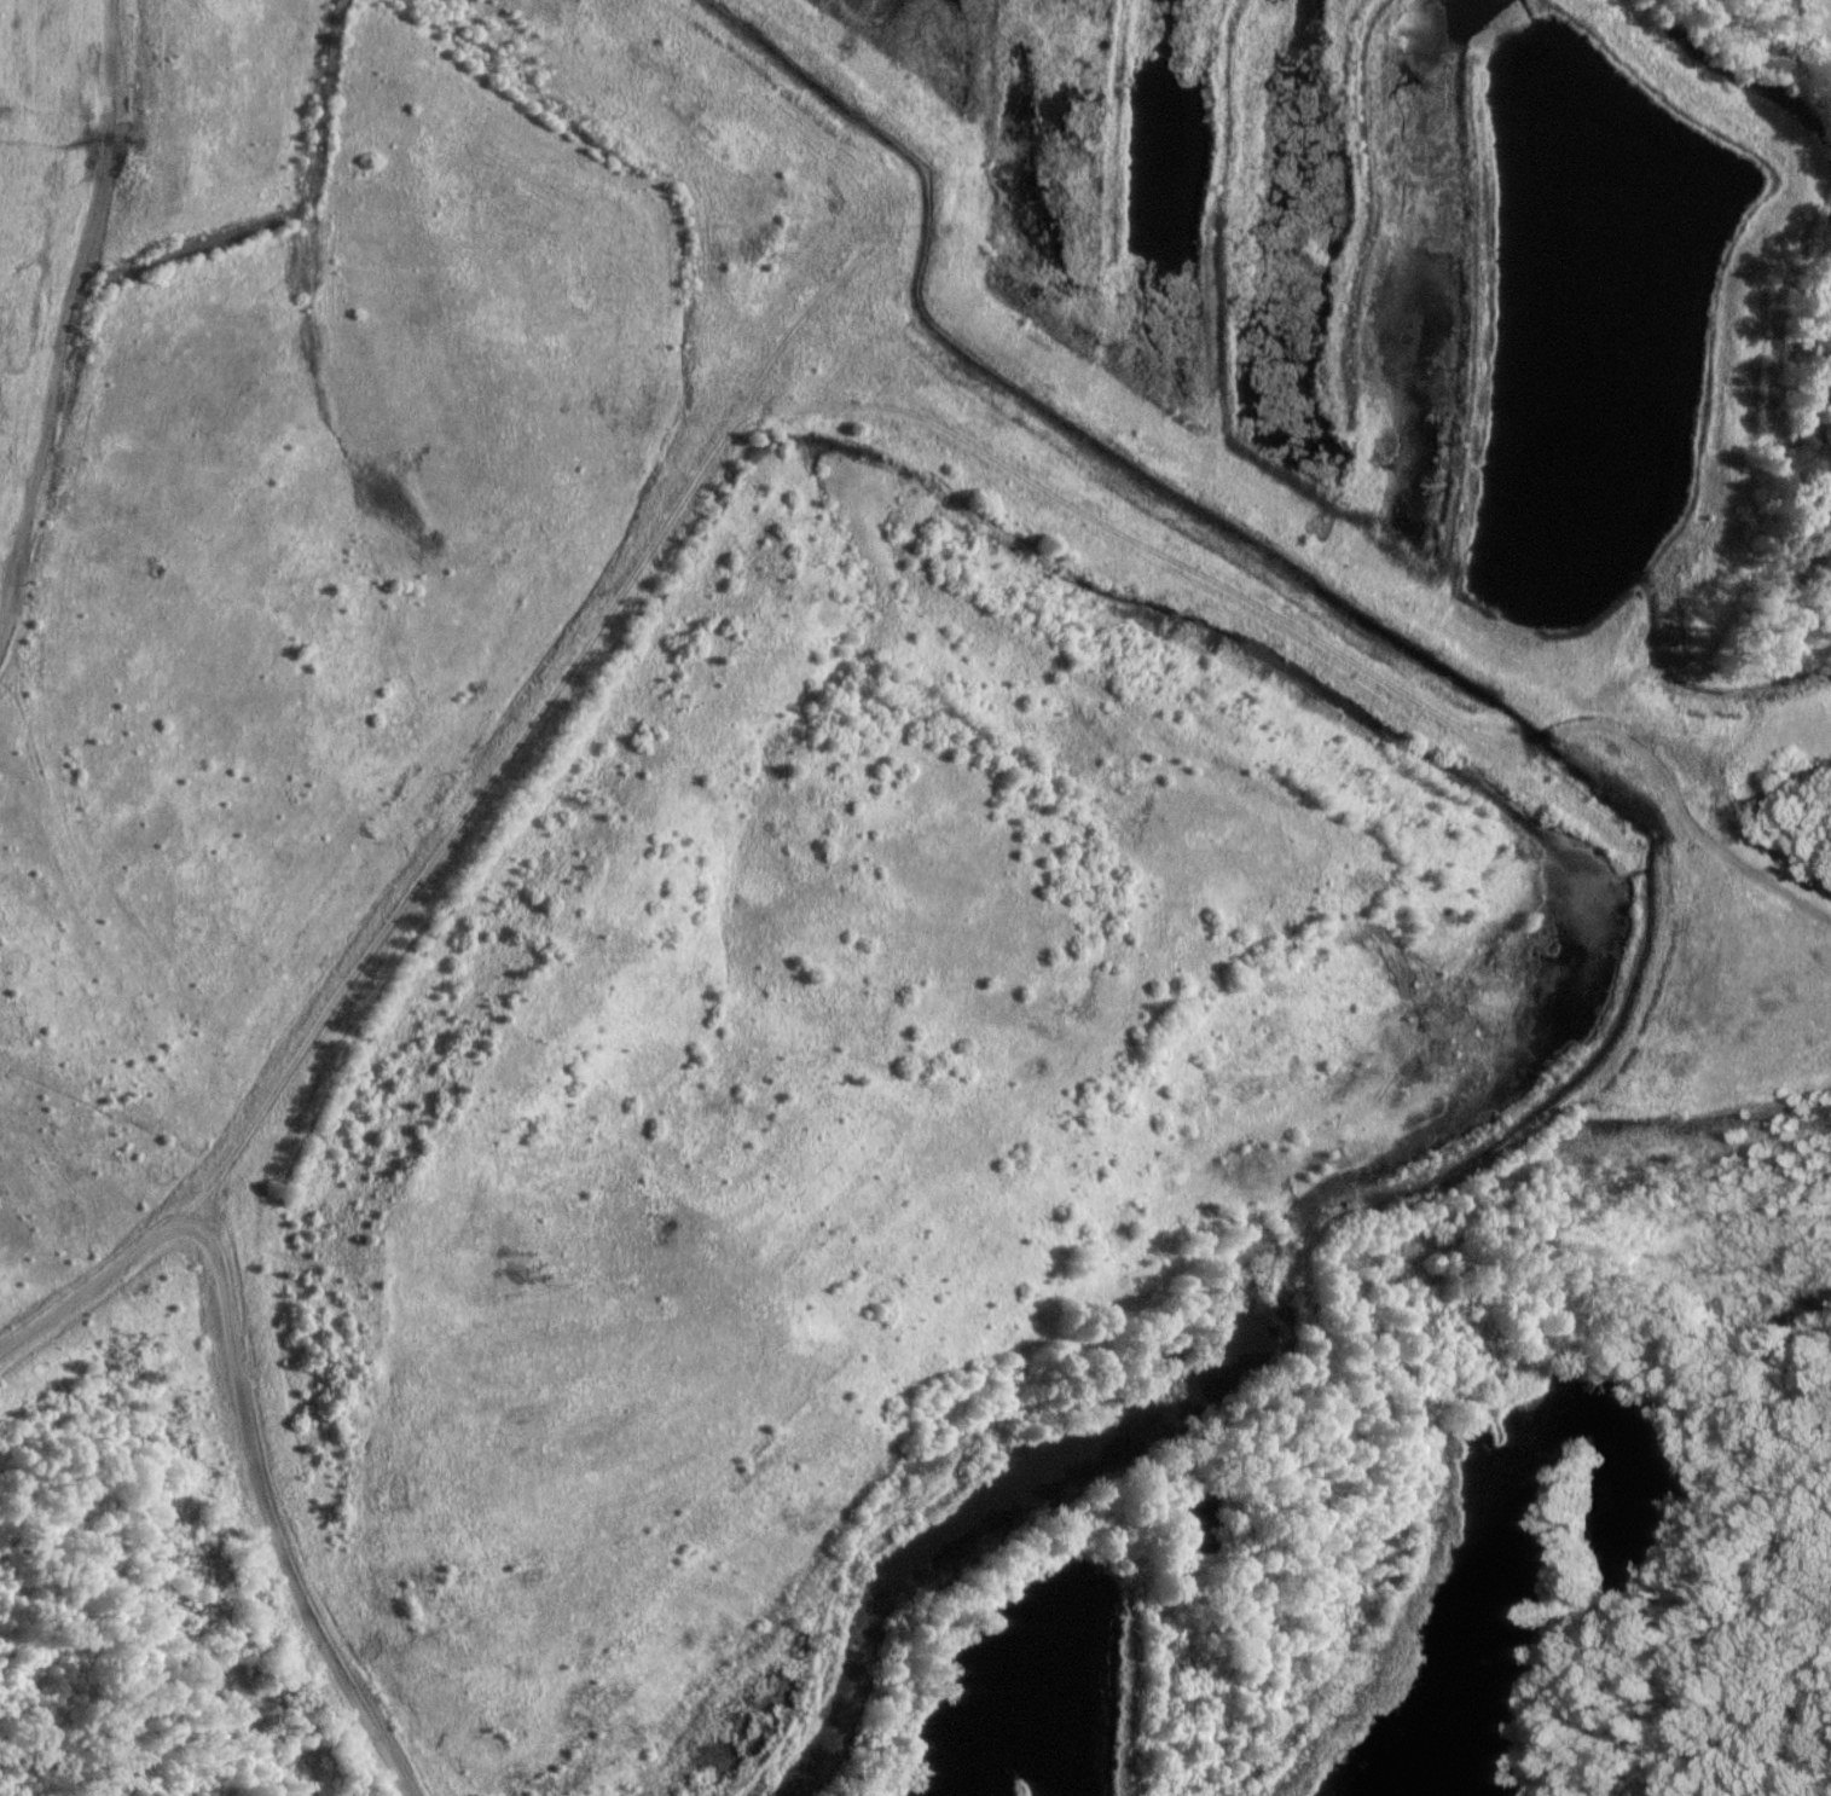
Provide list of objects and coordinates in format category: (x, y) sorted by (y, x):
road: (79, 309)
road: (241, 1401)

